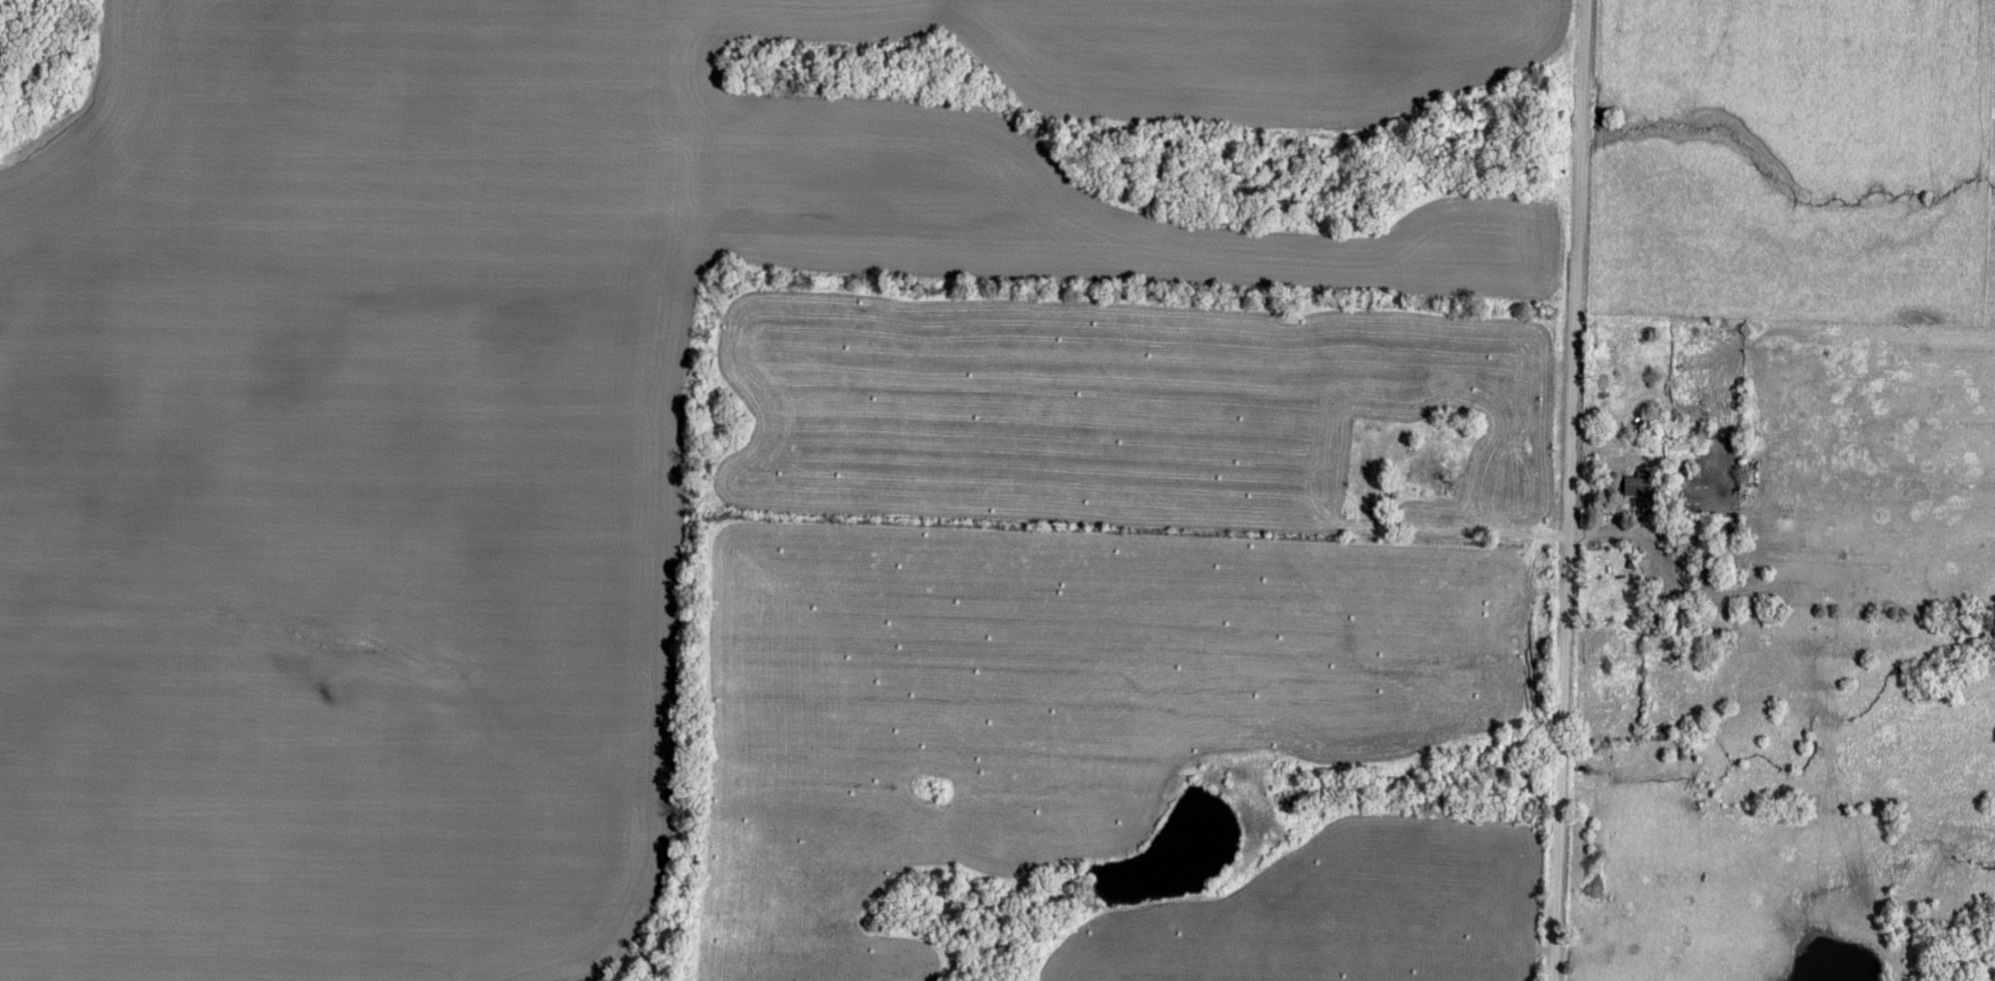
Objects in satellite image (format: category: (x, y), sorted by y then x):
building: (1638, 482)
road: (1571, 490)

